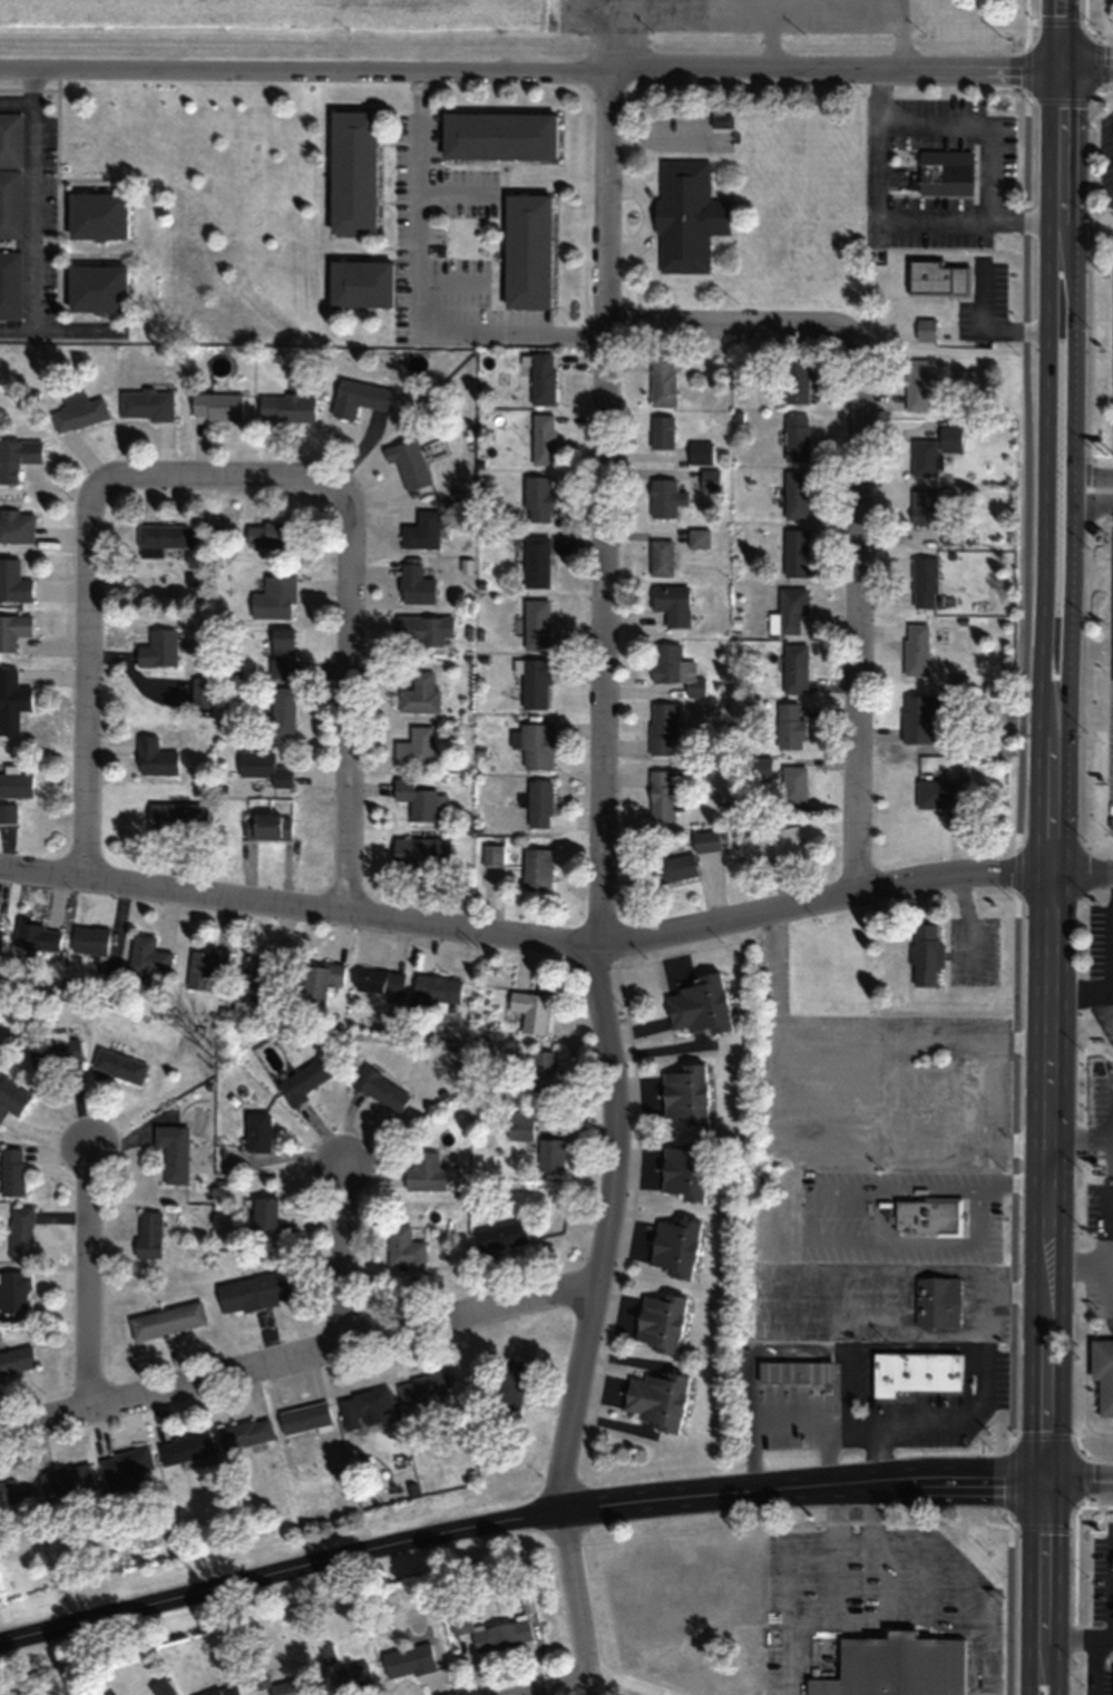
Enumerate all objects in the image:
crop: (273, 27)
road: (1100, 31)
road: (1026, 32)
road: (1061, 32)
road: (1086, 64)
road: (529, 66)
road: (16, 101)
building: (499, 134)
road: (1060, 140)
building: (937, 169)
building: (352, 171)
building: (10, 174)
building: (97, 214)
road: (31, 215)
building: (687, 215)
building: (527, 250)
building: (938, 277)
building: (360, 282)
building: (10, 284)
building: (96, 286)
road: (421, 318)
building: (926, 328)
building: (543, 378)
building: (663, 379)
building: (797, 382)
building: (917, 384)
building: (358, 397)
building: (146, 403)
building: (217, 406)
building: (289, 408)
building: (79, 411)
building: (662, 432)
building: (797, 437)
building: (543, 439)
building: (935, 451)
building: (700, 452)
building: (17, 457)
building: (409, 462)
road: (1091, 474)
building: (709, 479)
road: (202, 483)
building: (795, 494)
building: (665, 498)
building: (537, 499)
road: (858, 499)
road: (1090, 503)
building: (924, 508)
road: (1044, 512)
road: (1073, 512)
building: (16, 526)
building: (421, 530)
building: (272, 534)
building: (163, 536)
building: (795, 553)
building: (661, 557)
building: (536, 562)
building: (13, 582)
building: (924, 583)
building: (414, 585)
building: (274, 597)
building: (672, 603)
building: (789, 611)
building: (536, 623)
building: (12, 630)
building: (422, 630)
building: (158, 649)
building: (916, 649)
building: (281, 652)
building: (674, 668)
building: (794, 669)
building: (535, 682)
building: (12, 691)
building: (201, 691)
building: (419, 693)
road: (87, 695)
road: (349, 695)
building: (282, 710)
building: (918, 715)
building: (663, 727)
building: (790, 727)
building: (536, 744)
building: (414, 746)
building: (155, 757)
building: (263, 768)
building: (14, 782)
building: (792, 783)
road: (599, 789)
building: (937, 792)
building: (661, 795)
building: (419, 799)
building: (538, 803)
building: (177, 817)
building: (266, 826)
building: (705, 840)
building: (770, 845)
building: (420, 851)
building: (491, 855)
building: (536, 868)
building: (671, 868)
road: (1016, 879)
building: (38, 935)
building: (90, 939)
building: (0, 942)
road: (556, 946)
building: (925, 954)
building: (146, 958)
building: (205, 965)
road: (1111, 966)
building: (264, 975)
building: (320, 980)
building: (380, 980)
building: (437, 987)
road: (1078, 996)
building: (696, 1005)
building: (530, 1010)
building: (56, 1052)
building: (119, 1065)
building: (541, 1078)
building: (303, 1079)
building: (381, 1089)
building: (684, 1094)
building: (11, 1098)
building: (258, 1132)
road: (1080, 1141)
road: (1046, 1142)
building: (175, 1151)
building: (551, 1156)
building: (226, 1160)
building: (199, 1161)
building: (684, 1170)
building: (12, 1172)
building: (426, 1172)
building: (261, 1214)
building: (929, 1216)
building: (22, 1233)
building: (149, 1234)
building: (501, 1235)
road: (1109, 1244)
building: (674, 1247)
building: (404, 1248)
road: (344, 1254)
road: (1080, 1263)
road: (87, 1282)
road: (1109, 1283)
building: (14, 1292)
building: (254, 1292)
building: (938, 1302)
building: (166, 1321)
building: (660, 1322)
building: (16, 1360)
road: (299, 1362)
building: (794, 1372)
building: (916, 1372)
building: (1103, 1373)
building: (426, 1387)
building: (509, 1394)
building: (656, 1399)
building: (364, 1407)
building: (305, 1419)
building: (246, 1433)
building: (186, 1449)
building: (126, 1470)
road: (1078, 1478)
building: (67, 1479)
building: (16, 1491)
road: (516, 1519)
road: (1043, 1565)
road: (577, 1601)
building: (501, 1636)
road: (1077, 1637)
building: (409, 1660)
road: (1095, 1666)
building: (896, 1667)
road: (1036, 1673)
road: (1047, 1673)
building: (352, 1676)
building: (162, 1687)
building: (287, 1687)
building: (226, 1691)
road: (586, 1694)

